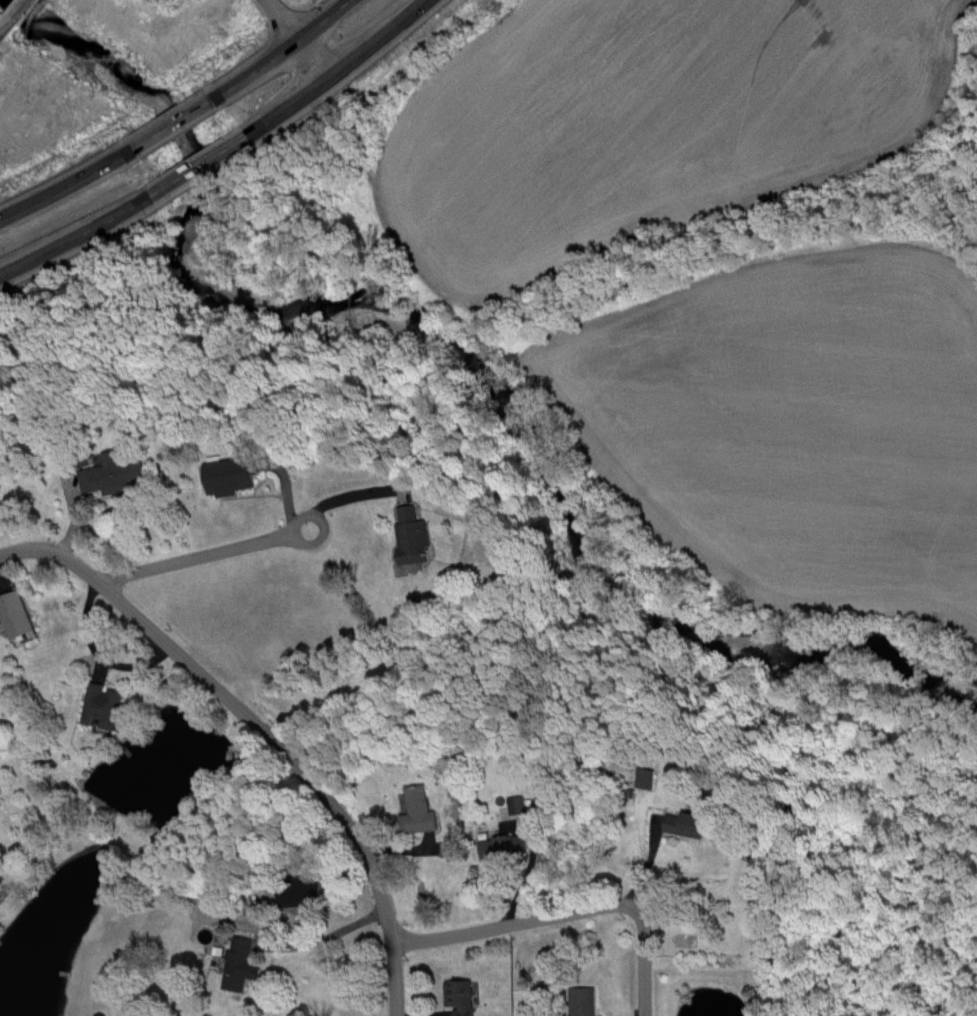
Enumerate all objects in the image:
road: (280, 50)
road: (338, 70)
road: (172, 123)
road: (198, 165)
road: (67, 184)
road: (76, 237)
building: (112, 473)
building: (230, 474)
building: (411, 535)
road: (202, 555)
building: (14, 614)
building: (100, 704)
road: (261, 730)
building: (646, 777)
building: (417, 810)
building: (686, 823)
building: (501, 846)
road: (647, 864)
building: (295, 894)
road: (565, 911)
road: (318, 934)
building: (237, 962)
building: (459, 996)
building: (582, 1001)

